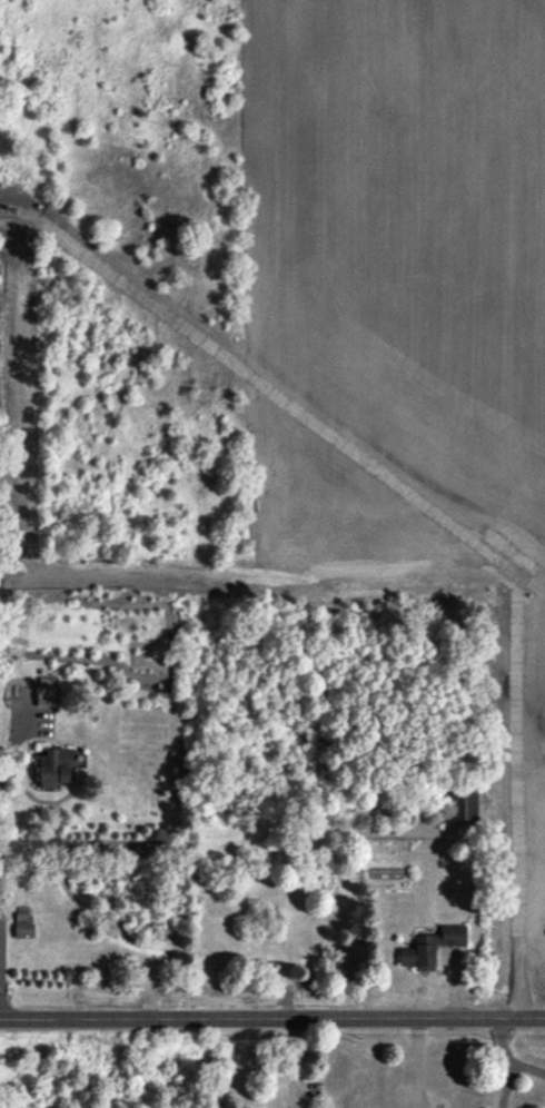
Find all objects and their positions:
building: (46, 691)
road: (7, 751)
building: (53, 766)
building: (464, 805)
building: (430, 946)
road: (271, 1020)
road: (508, 1057)
road: (417, 1065)
road: (505, 1085)

